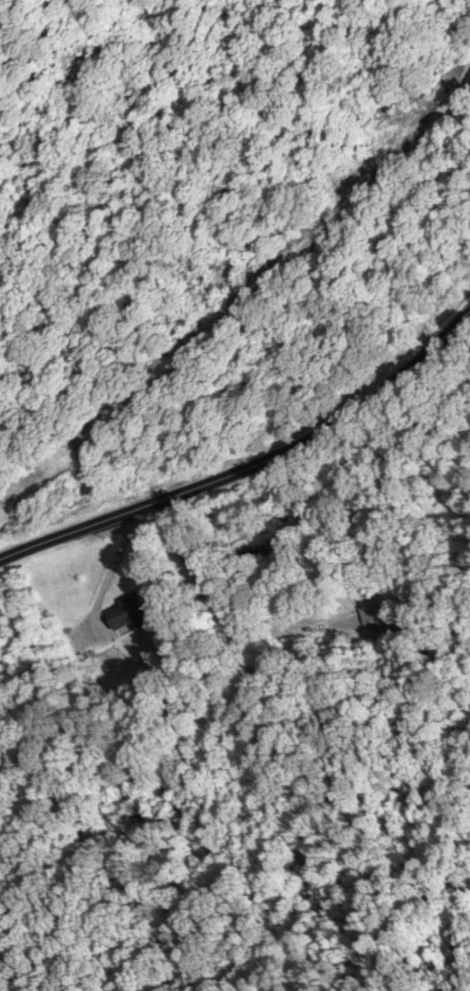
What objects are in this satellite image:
road: (268, 457)
building: (278, 494)
road: (117, 560)
building: (129, 610)
building: (377, 615)

